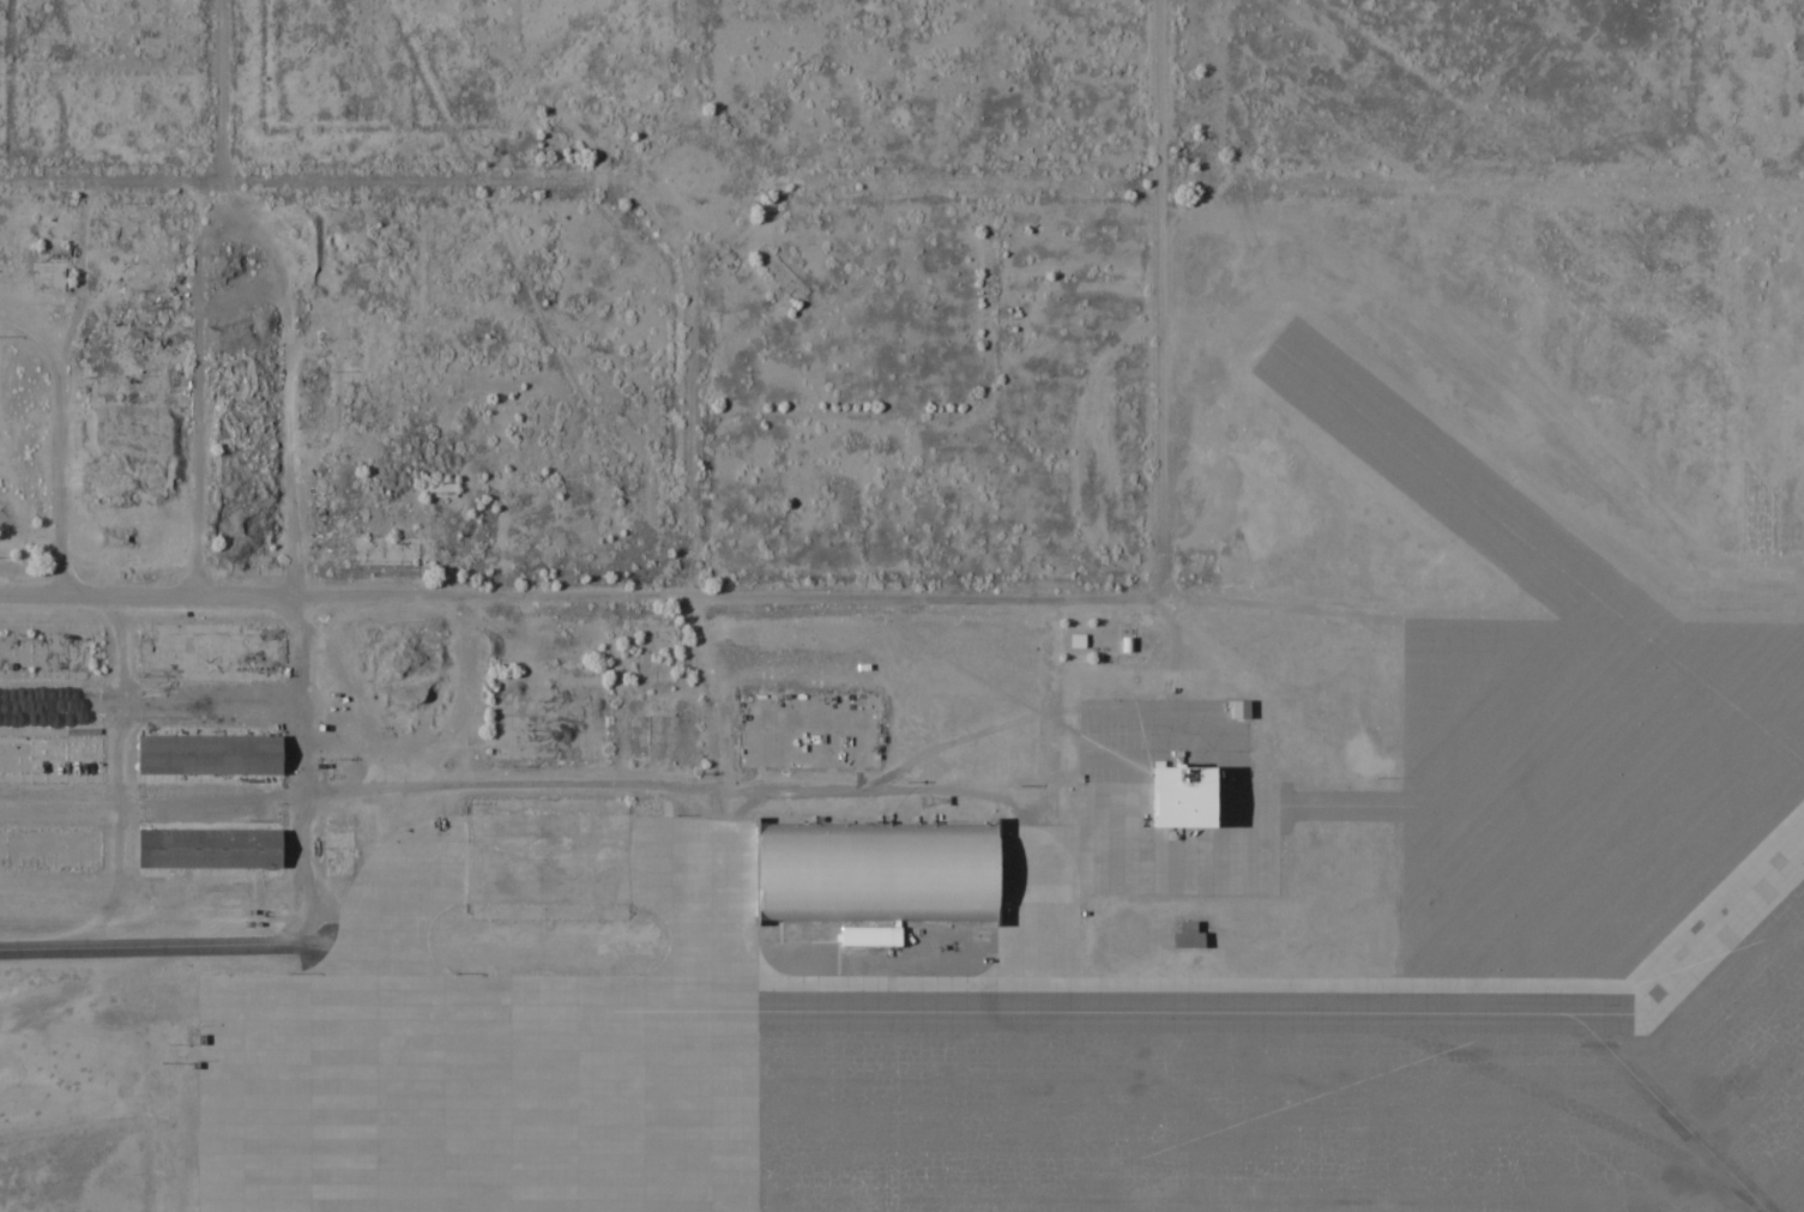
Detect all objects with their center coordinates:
road: (687, 55)
road: (219, 89)
road: (310, 177)
road: (960, 179)
road: (760, 187)
building: (48, 266)
road: (1158, 299)
road: (690, 423)
building: (438, 484)
road: (572, 591)
road: (1049, 706)
building: (1237, 708)
building: (658, 722)
building: (206, 754)
road: (298, 768)
road: (672, 786)
building: (1176, 795)
building: (206, 846)
building: (876, 872)
building: (1187, 934)
building: (869, 936)
road: (163, 943)
airport apron: (1007, 1061)

